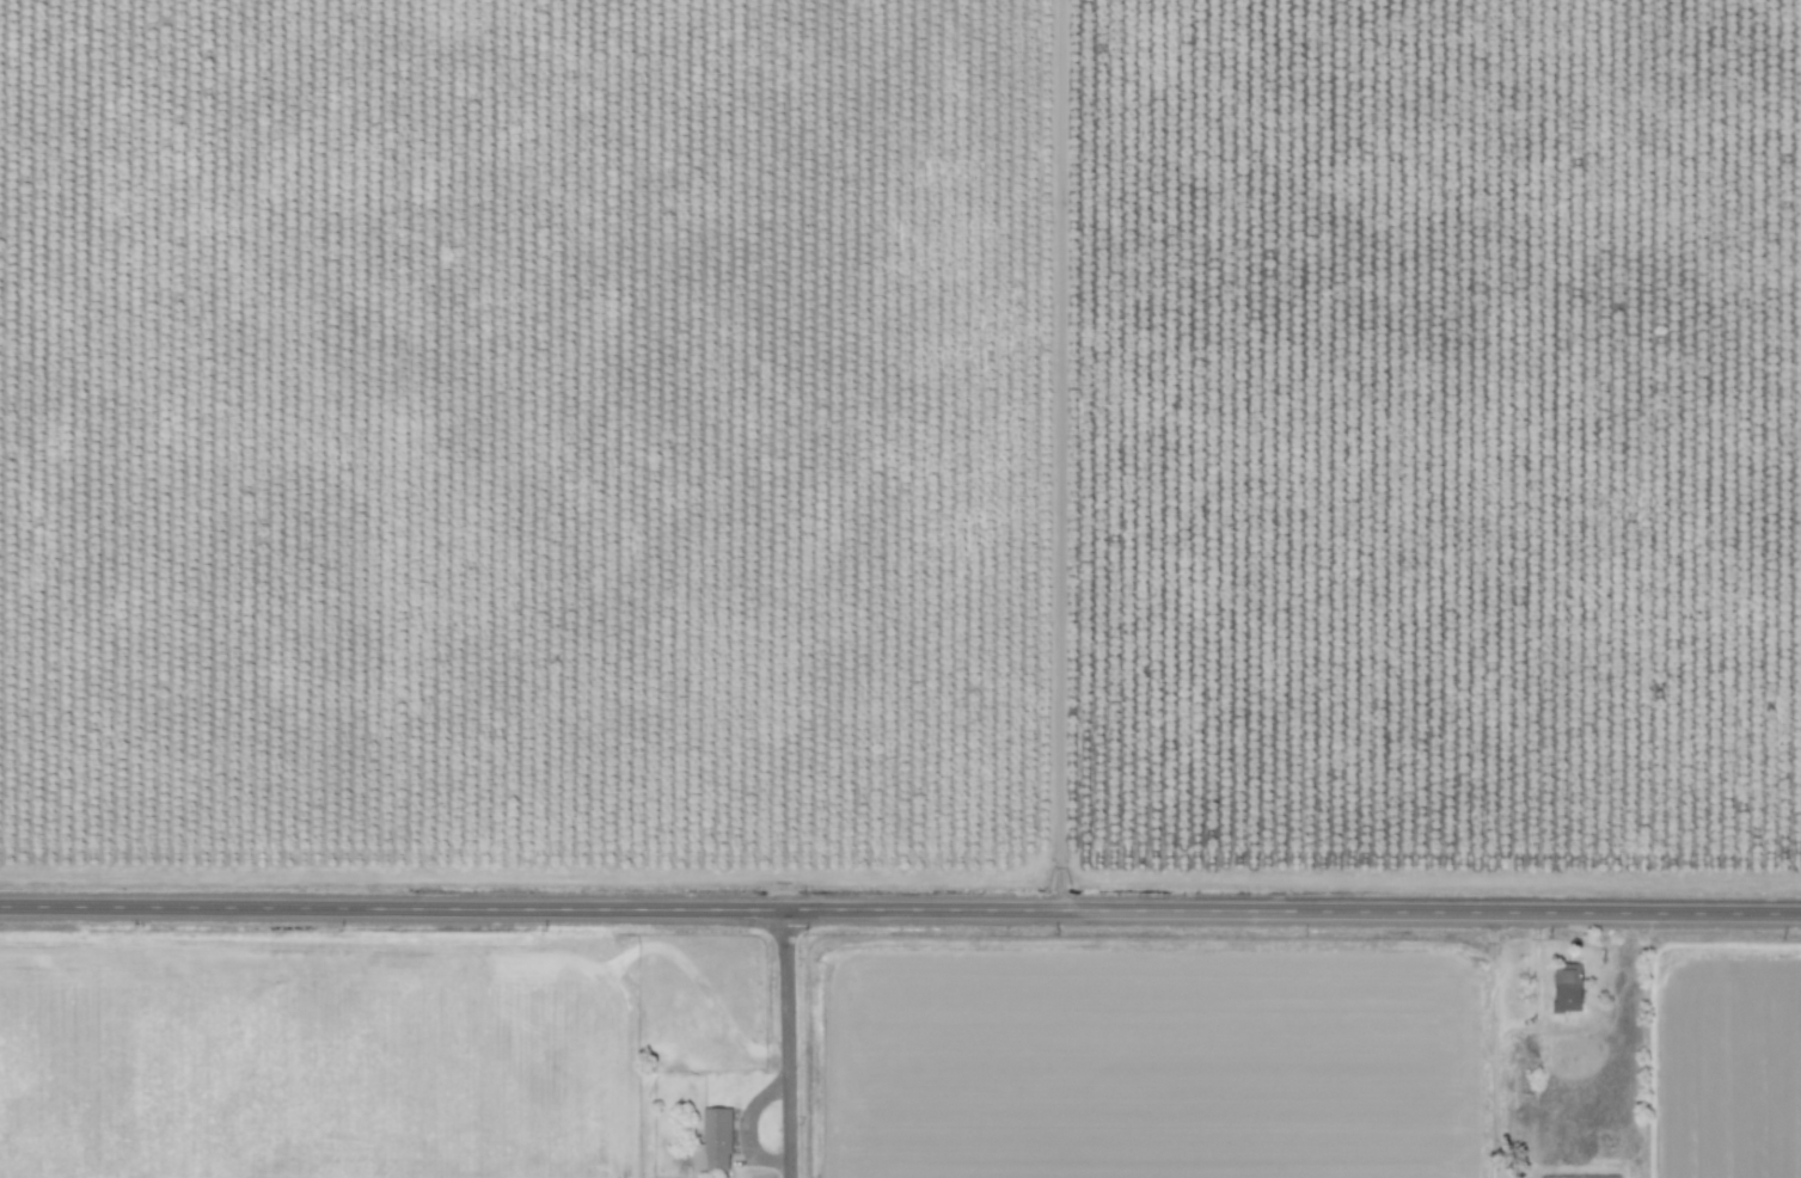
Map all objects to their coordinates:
road: (900, 908)
road: (790, 1043)
building: (719, 1119)

